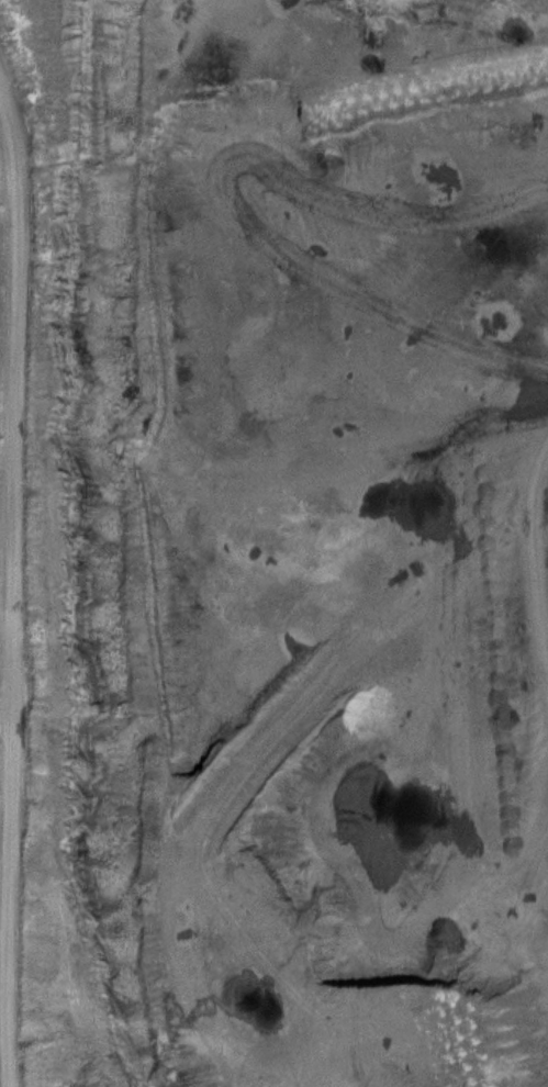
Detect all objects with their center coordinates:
quarry: (273, 543)

